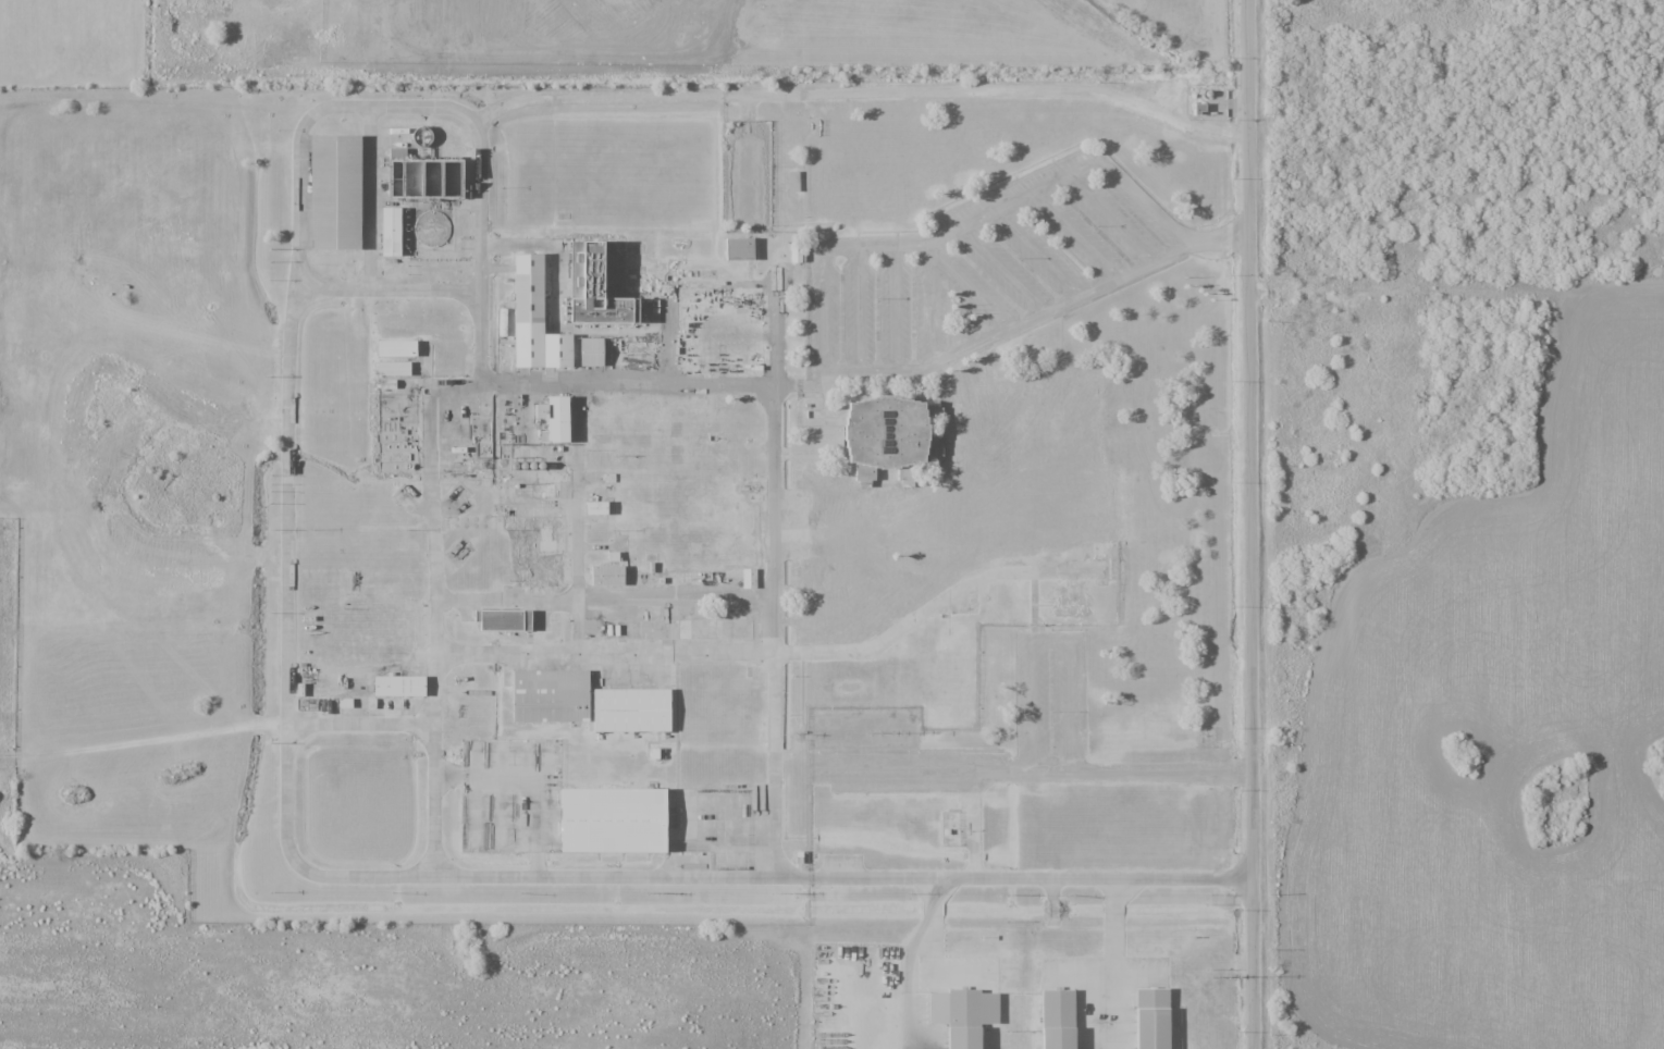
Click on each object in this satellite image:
building: (334, 193)
building: (396, 236)
building: (739, 249)
building: (599, 288)
building: (532, 313)
building: (725, 336)
building: (396, 348)
building: (590, 351)
building: (393, 369)
building: (554, 418)
road: (424, 442)
building: (974, 468)
building: (595, 508)
road: (1252, 523)
building: (606, 576)
building: (748, 578)
building: (845, 615)
building: (503, 620)
road: (287, 678)
building: (399, 686)
building: (555, 699)
building: (637, 713)
crop: (1505, 737)
road: (772, 820)
building: (619, 823)
building: (1151, 1019)
building: (969, 1039)
building: (1065, 1041)

